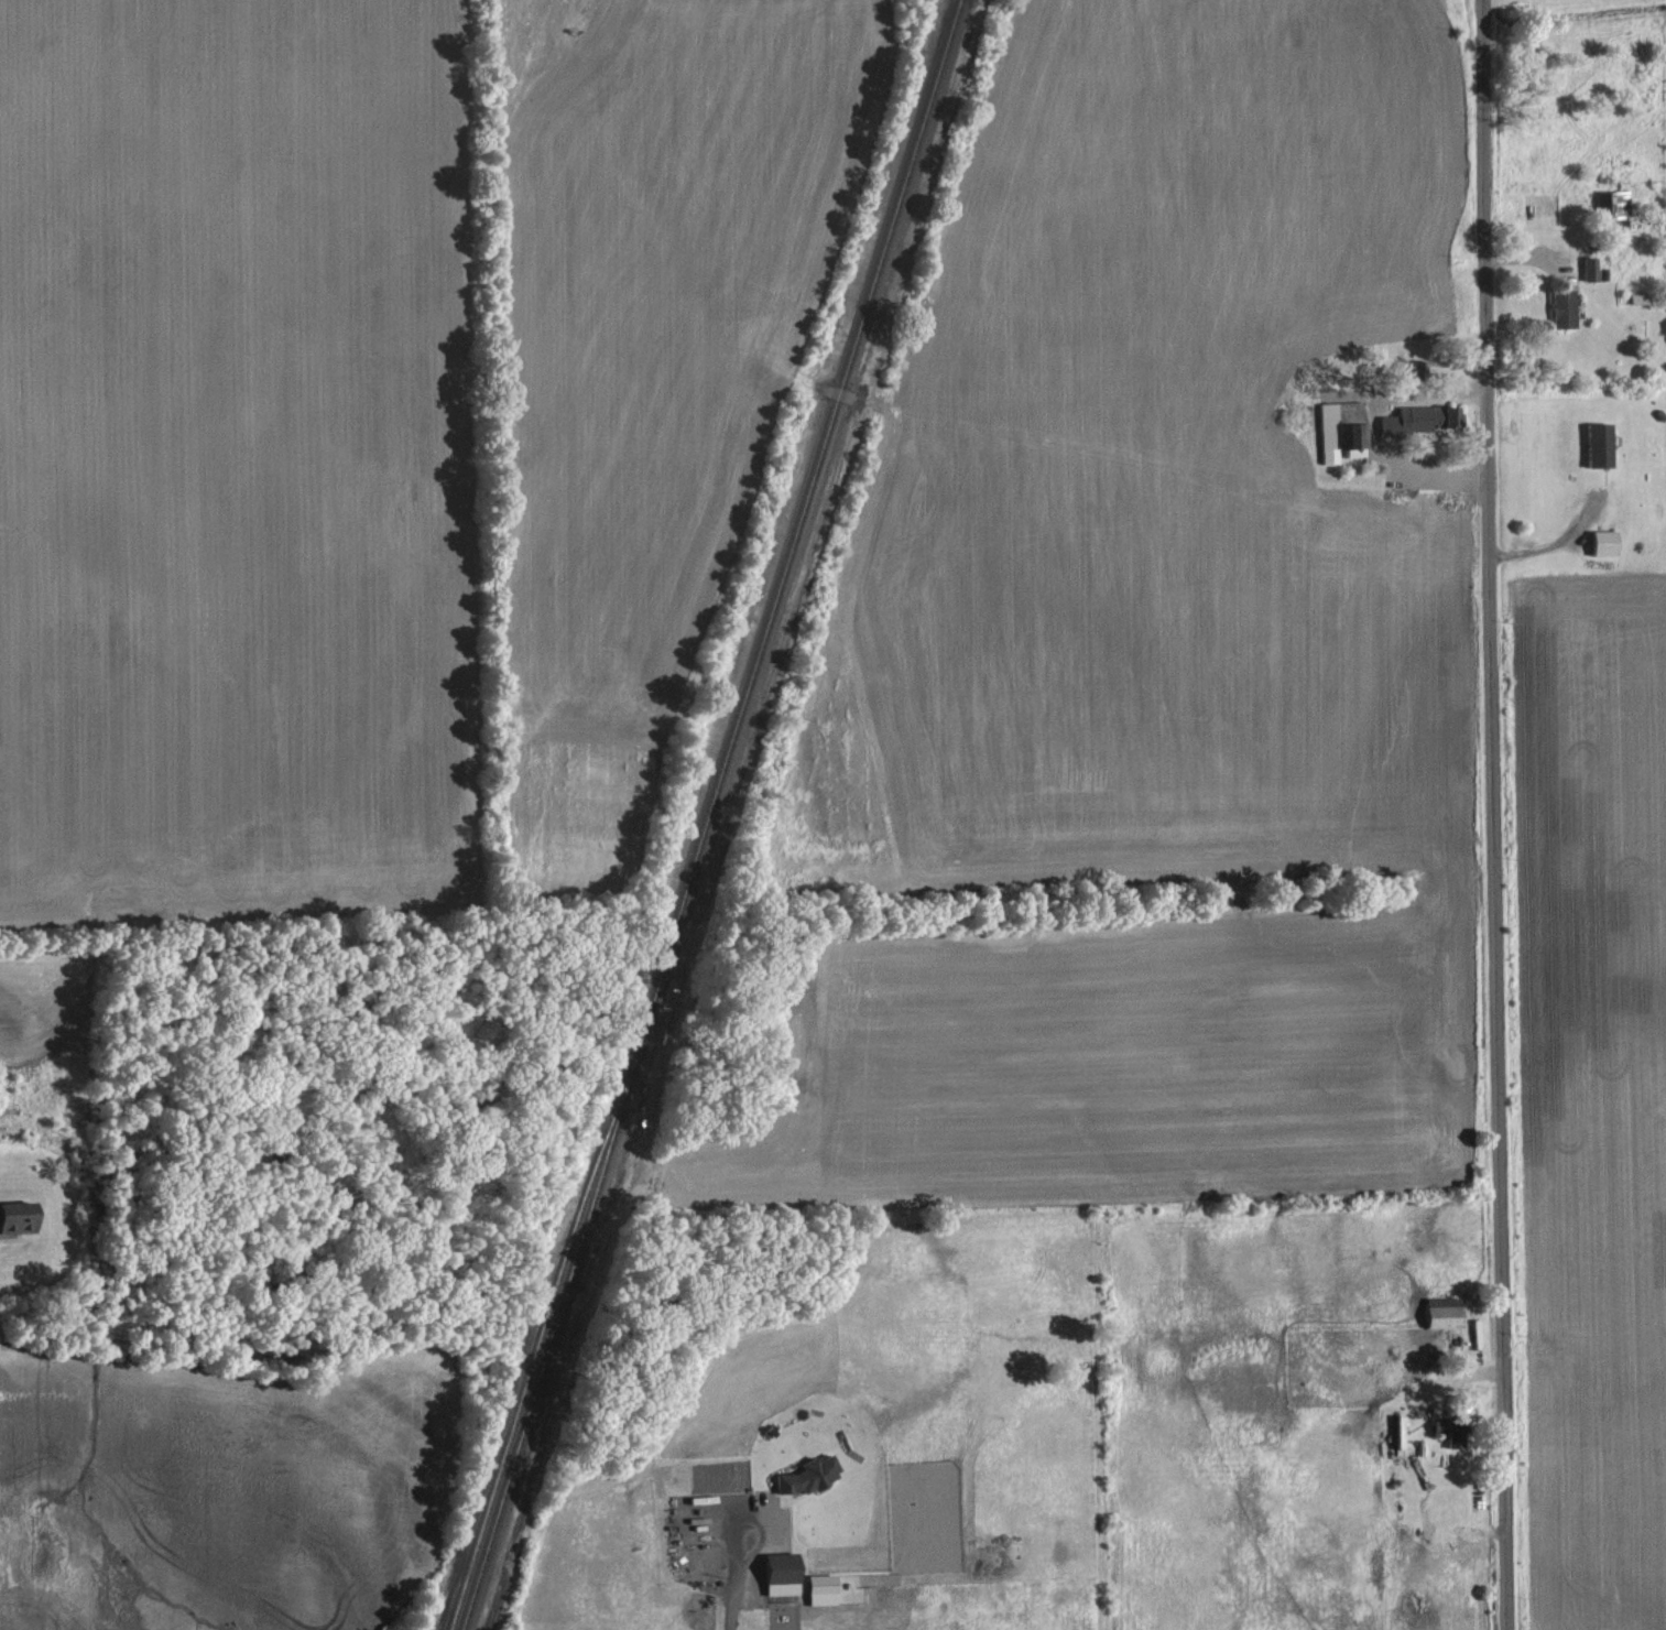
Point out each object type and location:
building: (1613, 203)
building: (1593, 269)
building: (1565, 307)
building: (1426, 417)
building: (1341, 426)
building: (1602, 444)
building: (1608, 542)
road: (1554, 543)
railway: (701, 815)
road: (1492, 815)
building: (20, 1215)
building: (1445, 1311)
building: (1450, 1428)
building: (810, 1474)
building: (785, 1573)
road: (731, 1587)
building: (823, 1588)

